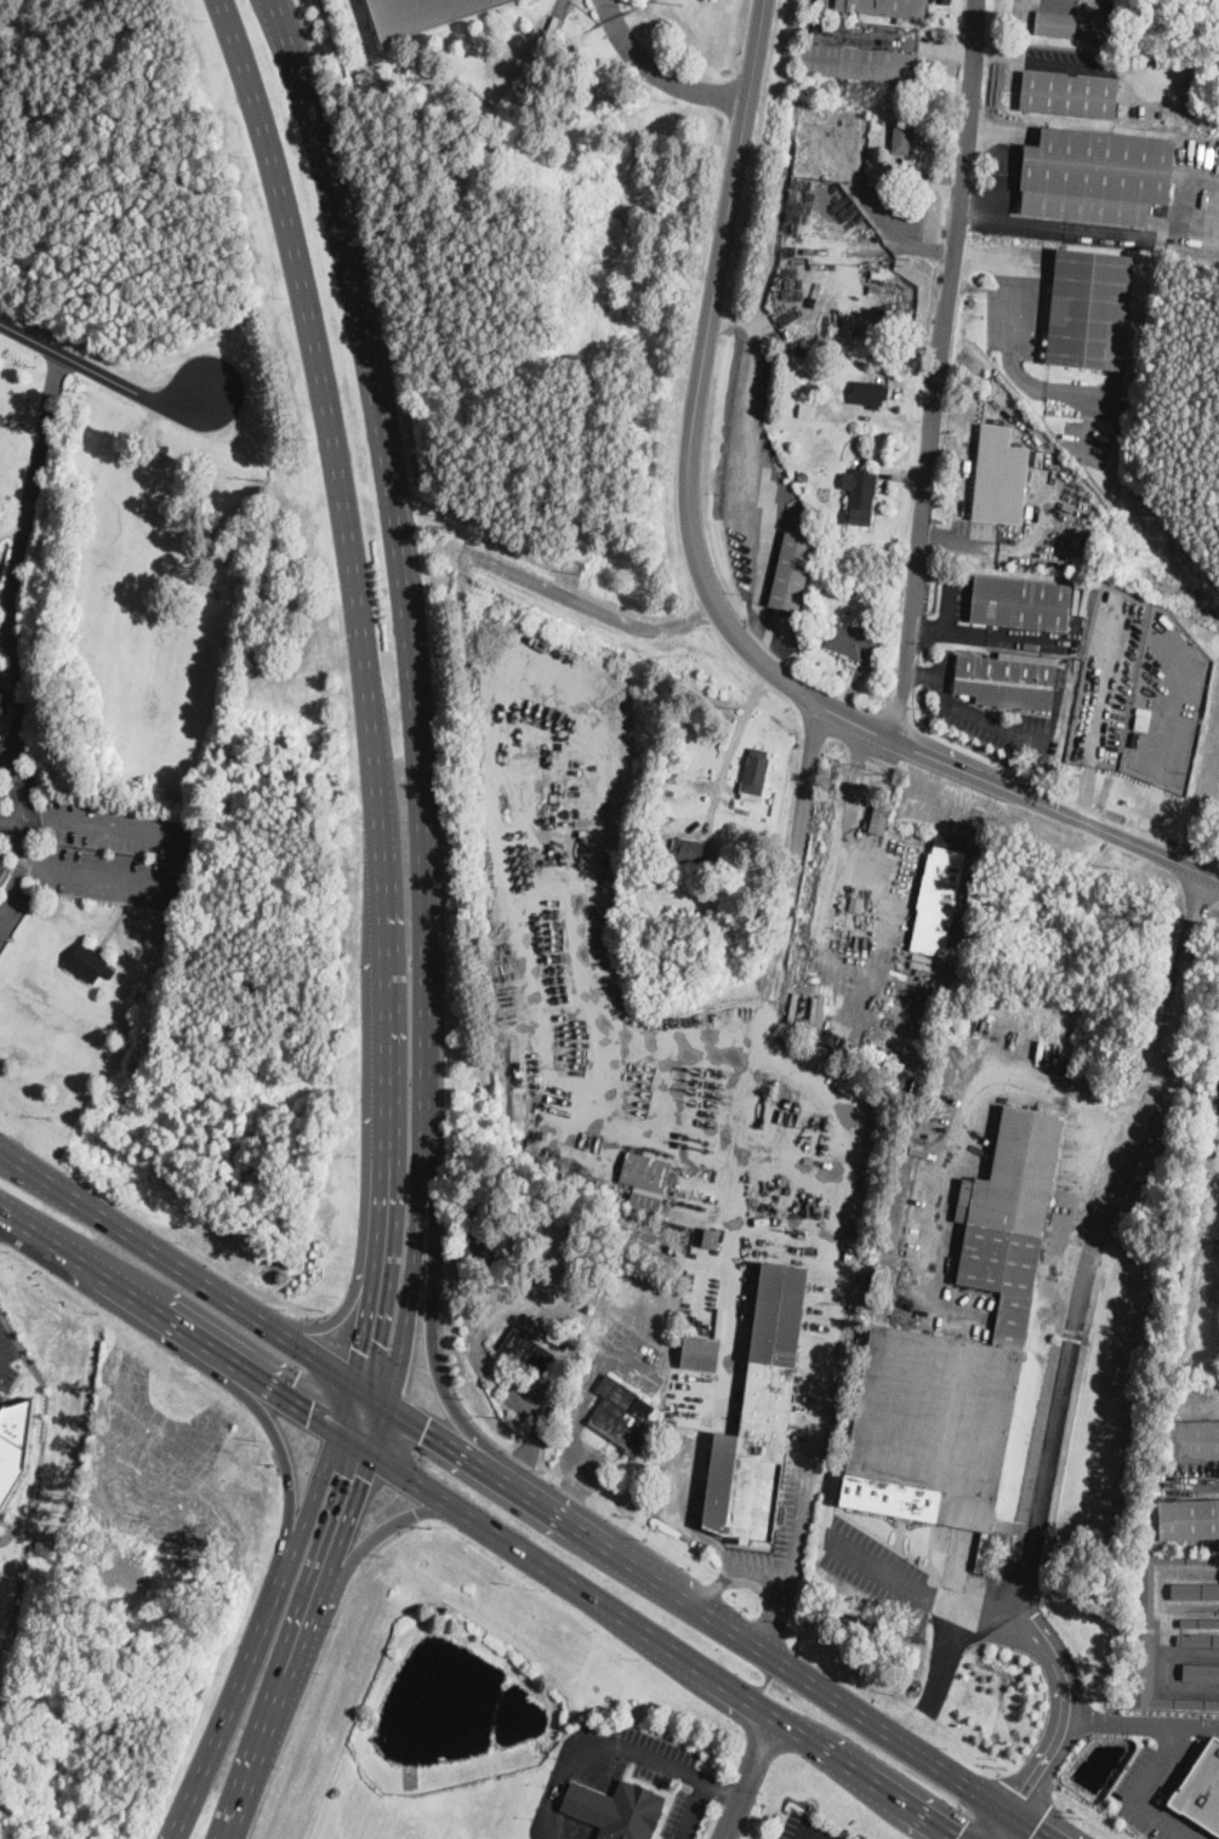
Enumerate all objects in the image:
power tower: (679, 0)
building: (1111, 4)
building: (885, 7)
building: (422, 15)
road: (297, 16)
building: (1111, 18)
building: (1055, 24)
building: (1086, 34)
road: (890, 40)
road: (944, 45)
road: (1039, 57)
building: (860, 63)
road: (659, 74)
building: (1070, 95)
building: (904, 107)
road: (996, 125)
building: (904, 138)
road: (928, 169)
building: (1096, 176)
road: (1007, 220)
power tower: (904, 260)
road: (1015, 267)
building: (884, 308)
building: (1090, 309)
building: (802, 347)
road: (939, 370)
road: (107, 375)
building: (871, 394)
building: (809, 411)
building: (1121, 415)
road: (747, 466)
building: (999, 476)
building: (803, 477)
building: (864, 496)
power tower: (1155, 552)
road: (399, 553)
road: (18, 558)
building: (793, 571)
building: (873, 588)
road: (708, 590)
building: (1023, 604)
road: (594, 608)
road: (5, 628)
parking lot: (4, 640)
building: (853, 642)
building: (1007, 682)
building: (4, 698)
road: (368, 707)
road: (993, 721)
road: (731, 744)
building: (757, 772)
road: (16, 782)
road: (847, 807)
building: (881, 819)
road: (10, 822)
parking lot: (84, 846)
building: (689, 850)
road: (796, 850)
building: (2, 867)
building: (945, 870)
road: (186, 875)
road: (13, 882)
building: (744, 898)
building: (856, 899)
building: (90, 962)
road: (1004, 1078)
building: (644, 1172)
building: (645, 1200)
road: (1095, 1234)
road: (410, 1288)
road: (334, 1314)
road: (166, 1319)
road: (263, 1322)
road: (432, 1323)
traffic signals: (354, 1342)
building: (525, 1349)
building: (700, 1351)
building: (958, 1354)
parking lot: (7, 1357)
road: (0, 1359)
building: (625, 1408)
traffic signals: (308, 1413)
building: (759, 1414)
traffic signals: (425, 1429)
building: (1194, 1439)
building: (13, 1442)
road: (281, 1446)
road: (575, 1474)
road: (1209, 1475)
traffic signals: (364, 1478)
building: (1189, 1518)
road: (377, 1532)
road: (697, 1532)
road: (791, 1555)
parking lot: (870, 1564)
road: (716, 1584)
road: (918, 1590)
building: (1195, 1590)
building: (1149, 1615)
building: (1198, 1622)
road: (642, 1634)
road: (262, 1635)
building: (1197, 1640)
road: (303, 1646)
road: (315, 1668)
road: (784, 1668)
building: (1201, 1673)
building: (1185, 1701)
road: (1069, 1709)
road: (1144, 1723)
road: (616, 1743)
road: (745, 1778)
building: (1202, 1788)
road: (596, 1790)
road: (1137, 1793)
traffic signals: (1024, 1794)
building: (619, 1809)
road: (694, 1810)
road: (982, 1823)
road: (809, 1828)
road: (1019, 1833)
traffic signals: (1033, 1834)

